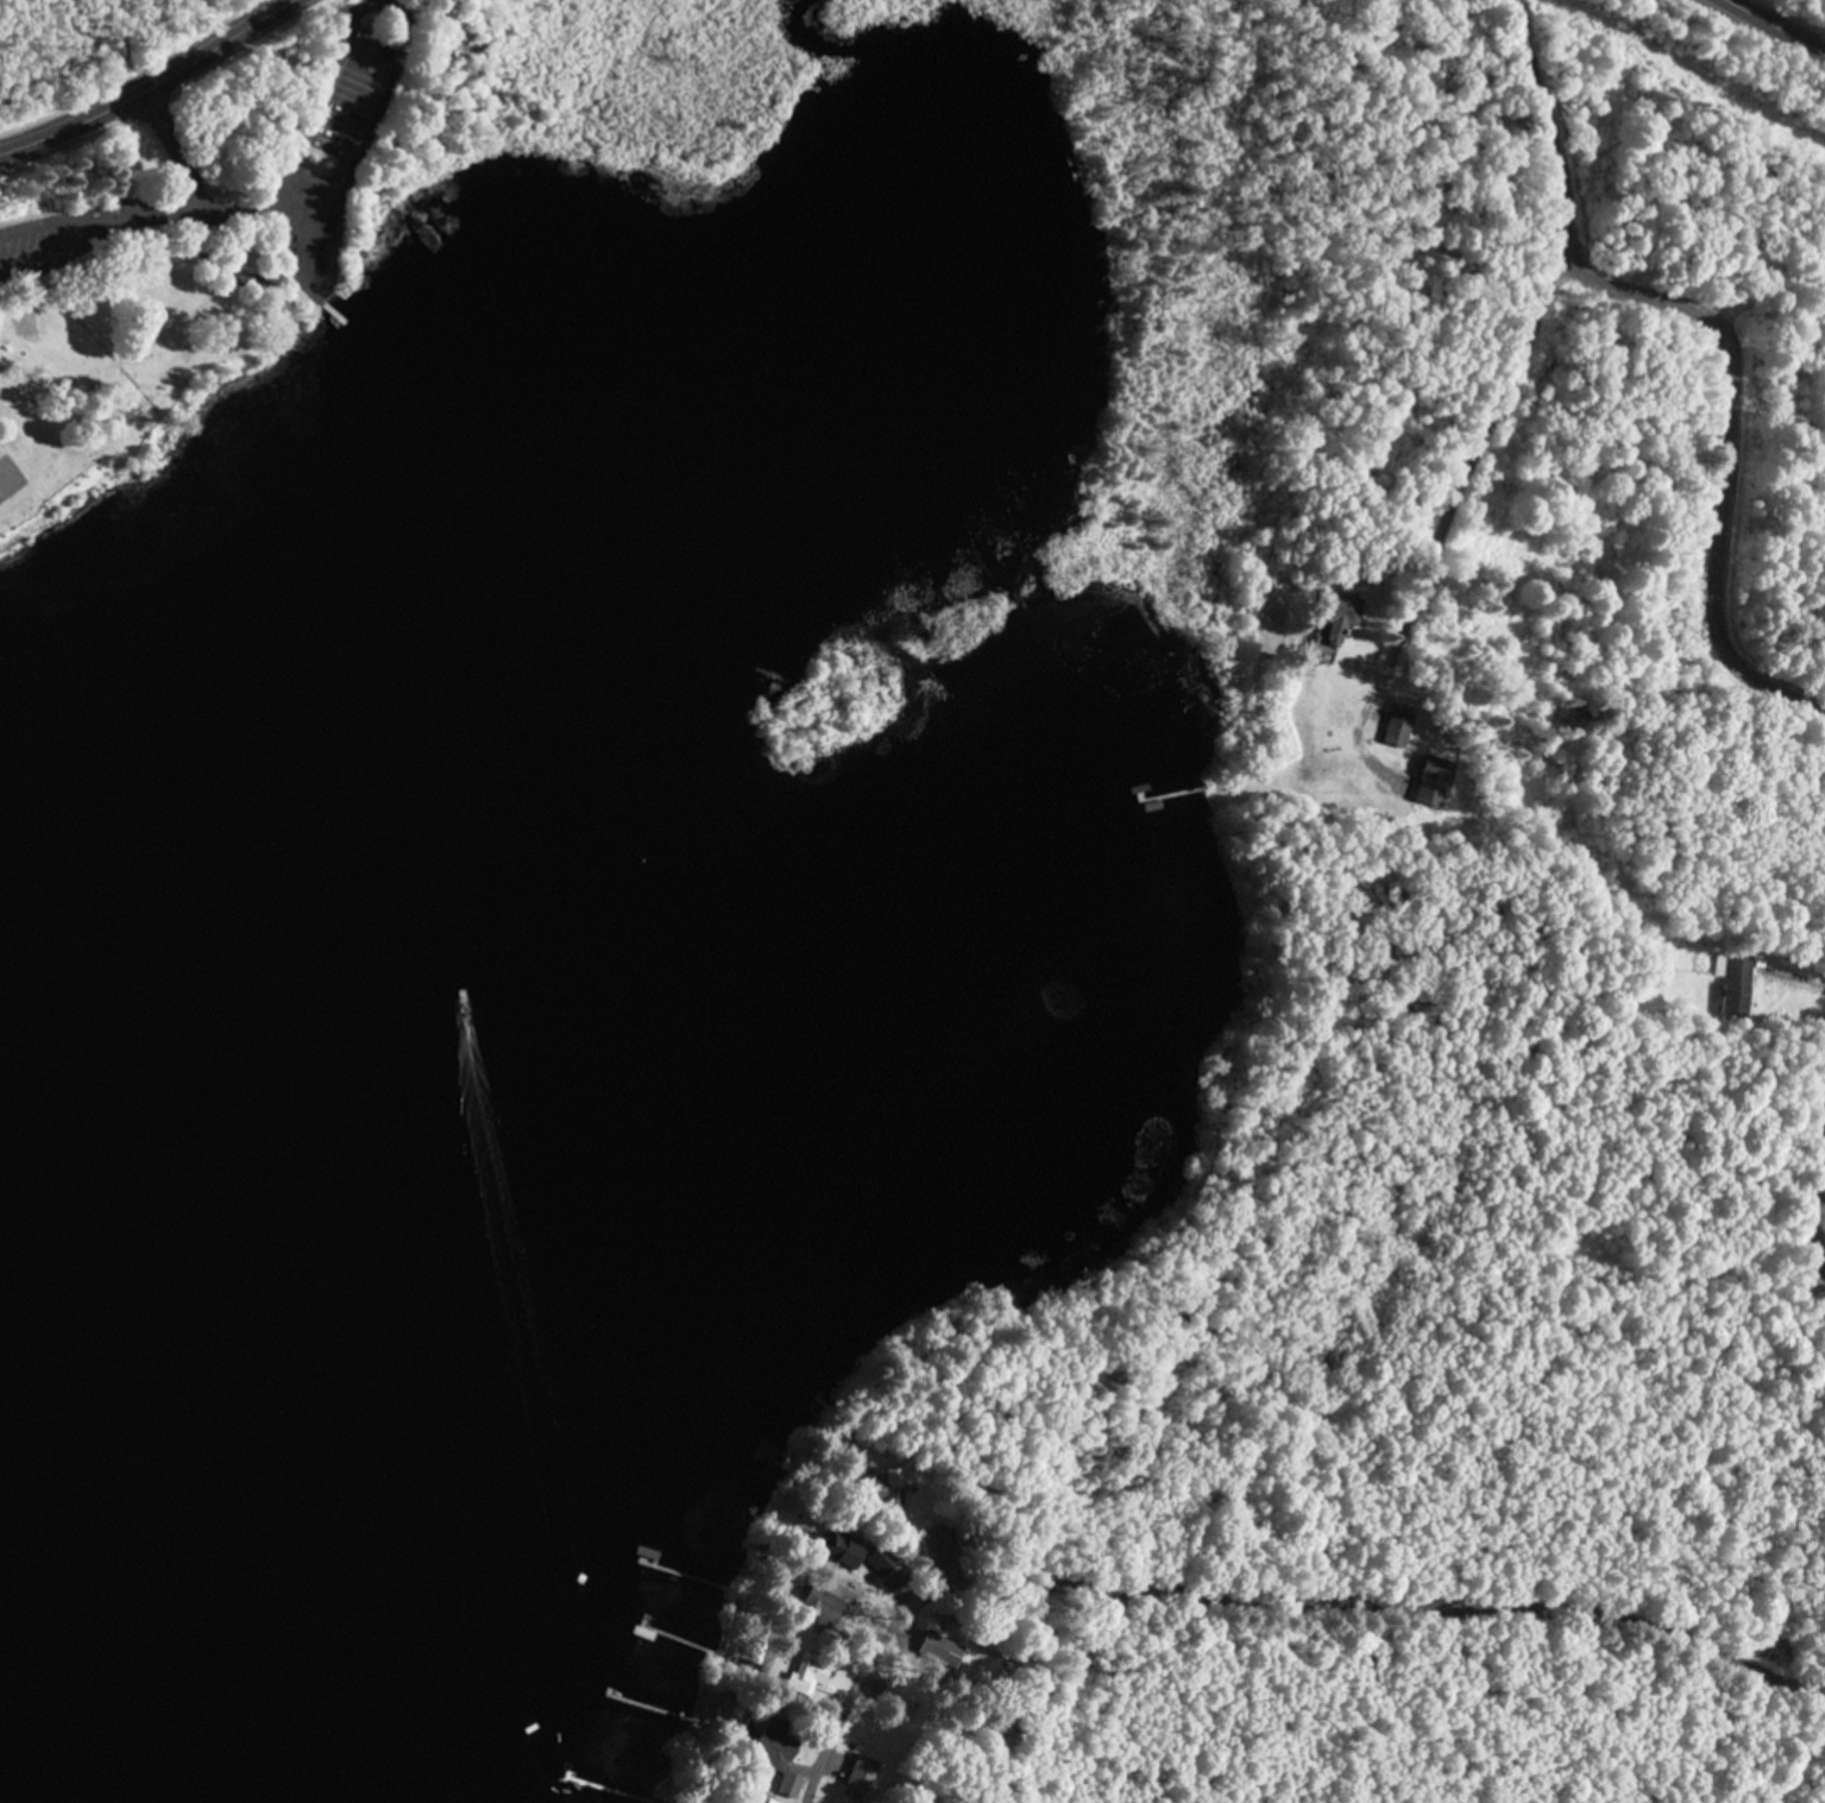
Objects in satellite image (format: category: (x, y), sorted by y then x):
road: (1775, 27)
road: (152, 86)
road: (1566, 298)
road: (1441, 467)
park: (11, 478)
building: (1343, 616)
building: (1401, 723)
building: (1735, 966)
building: (894, 1493)
building: (863, 1558)
road: (1263, 1589)
building: (824, 1608)
building: (939, 1652)
building: (812, 1676)
building: (893, 1697)
building: (782, 1758)
building: (863, 1776)
building: (770, 1802)

